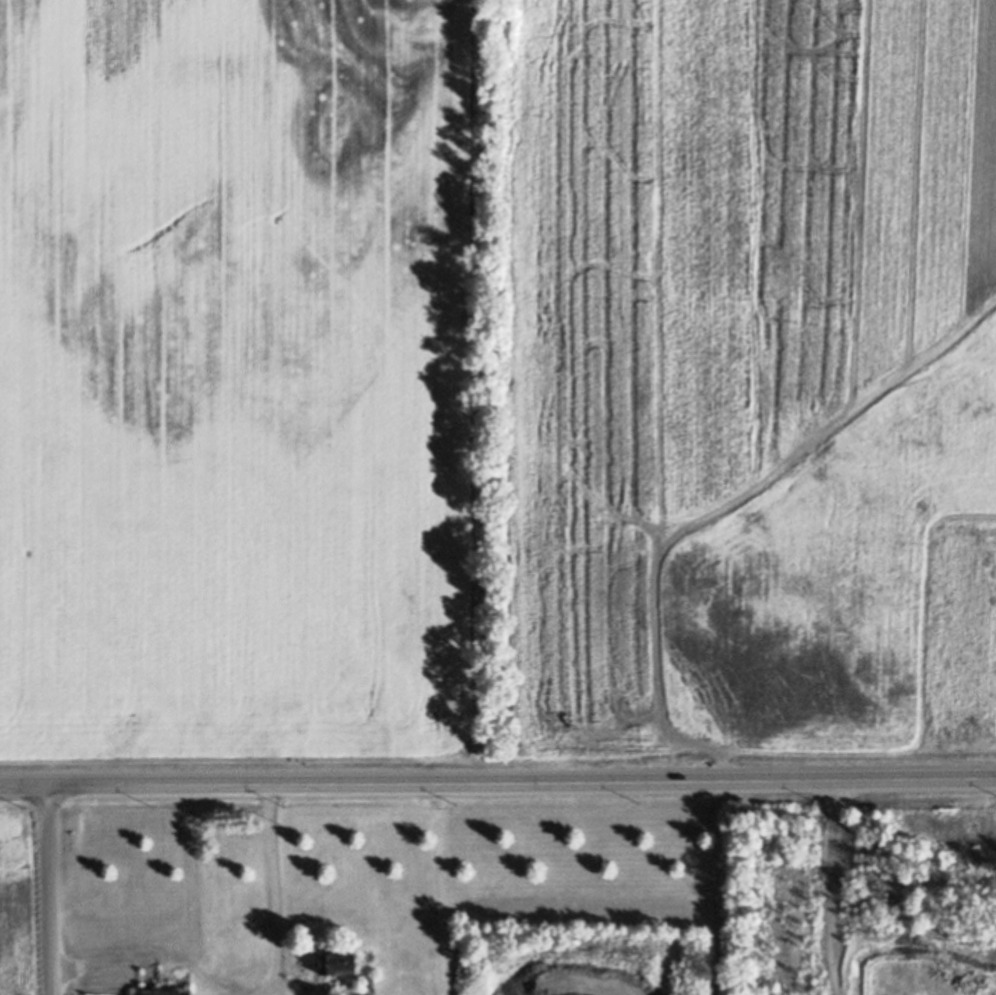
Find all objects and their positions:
road: (498, 781)
road: (271, 879)
road: (816, 887)
road: (44, 890)
building: (338, 962)
quarry: (915, 963)
building: (376, 981)
building: (165, 992)
quarry: (521, 992)

